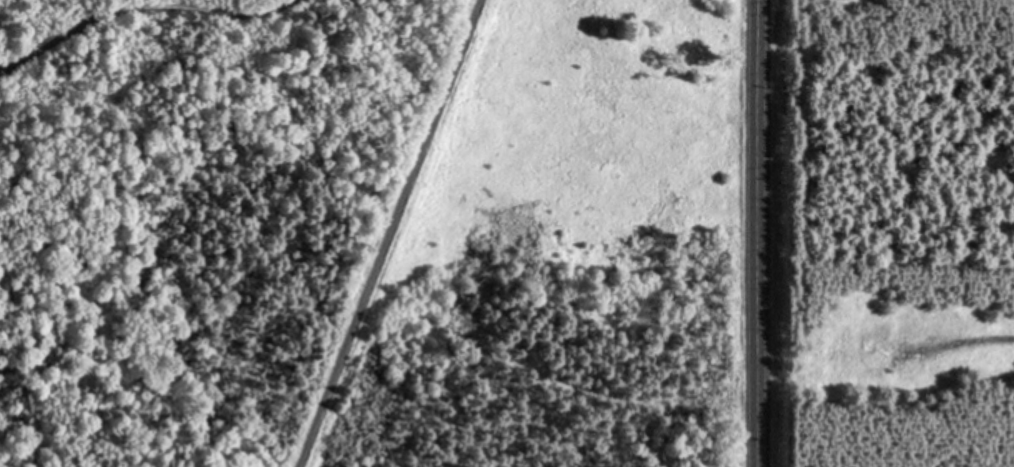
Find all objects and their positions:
road: (134, 4)
road: (384, 233)
road: (756, 233)

